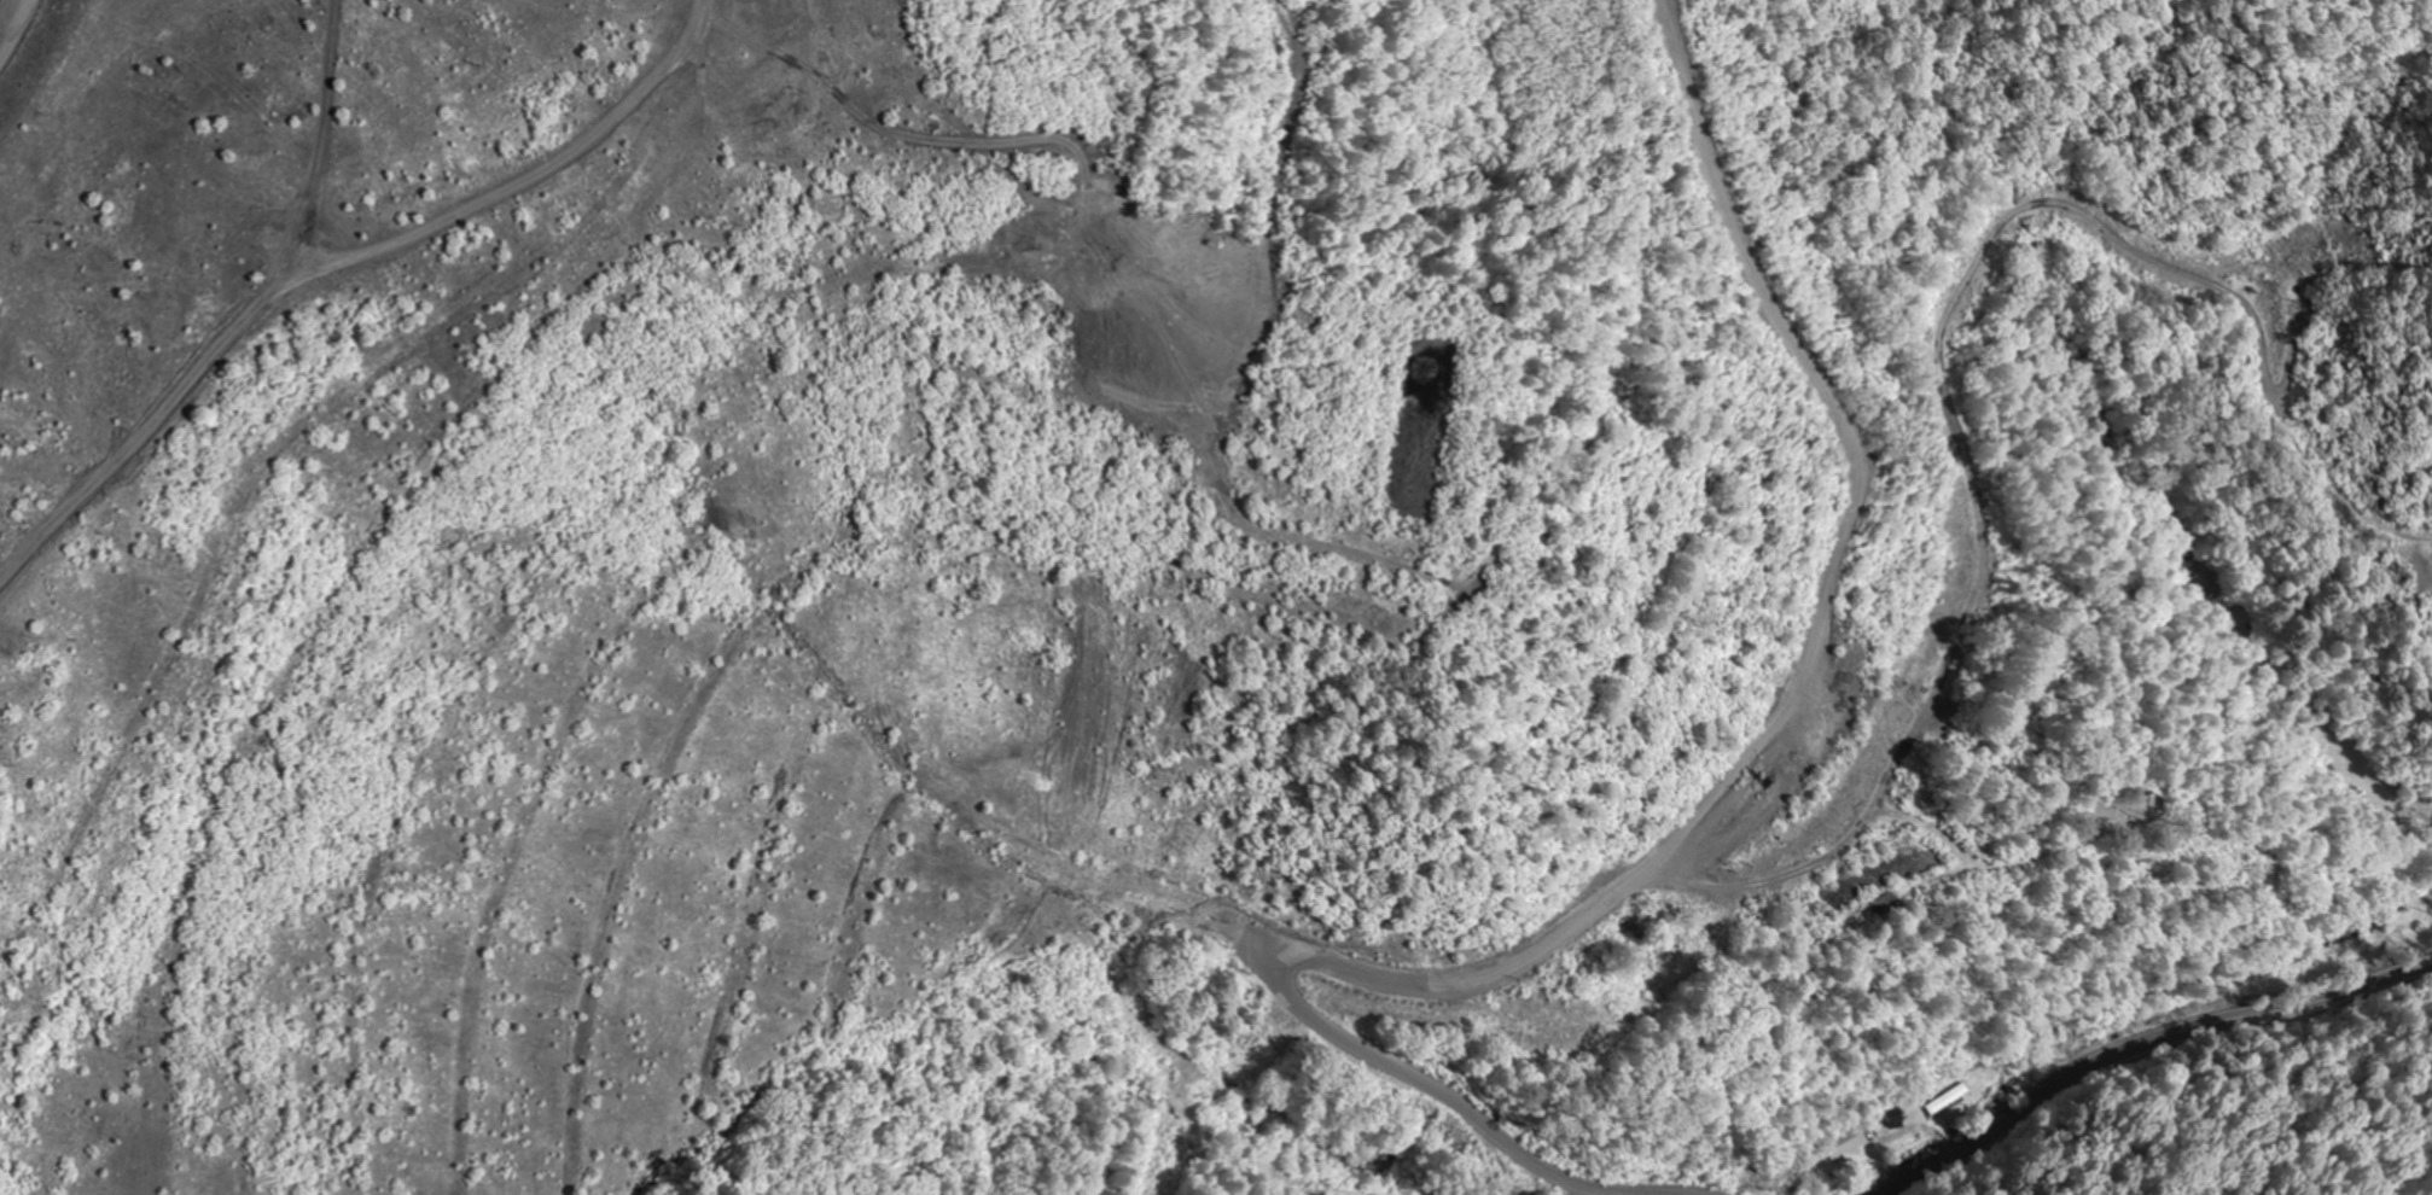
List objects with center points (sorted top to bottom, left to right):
building: (1892, 909)
road: (2145, 1044)
building: (1947, 1100)
building: (1897, 1119)
building: (1846, 1144)

